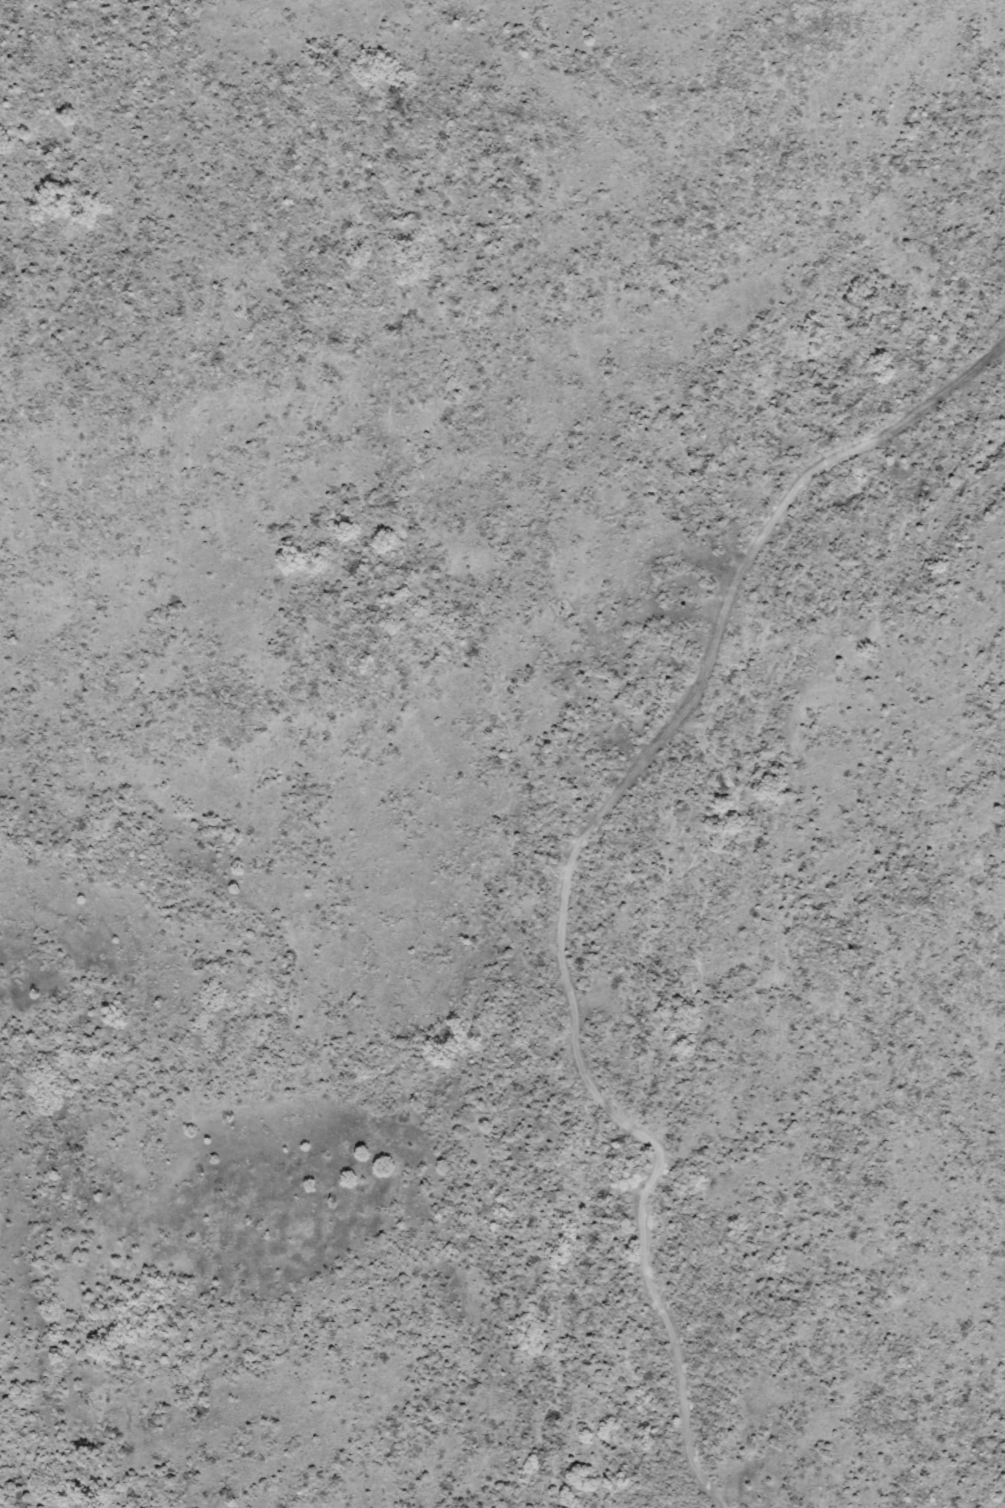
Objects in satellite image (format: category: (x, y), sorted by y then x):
road: (785, 873)
road: (889, 1019)

